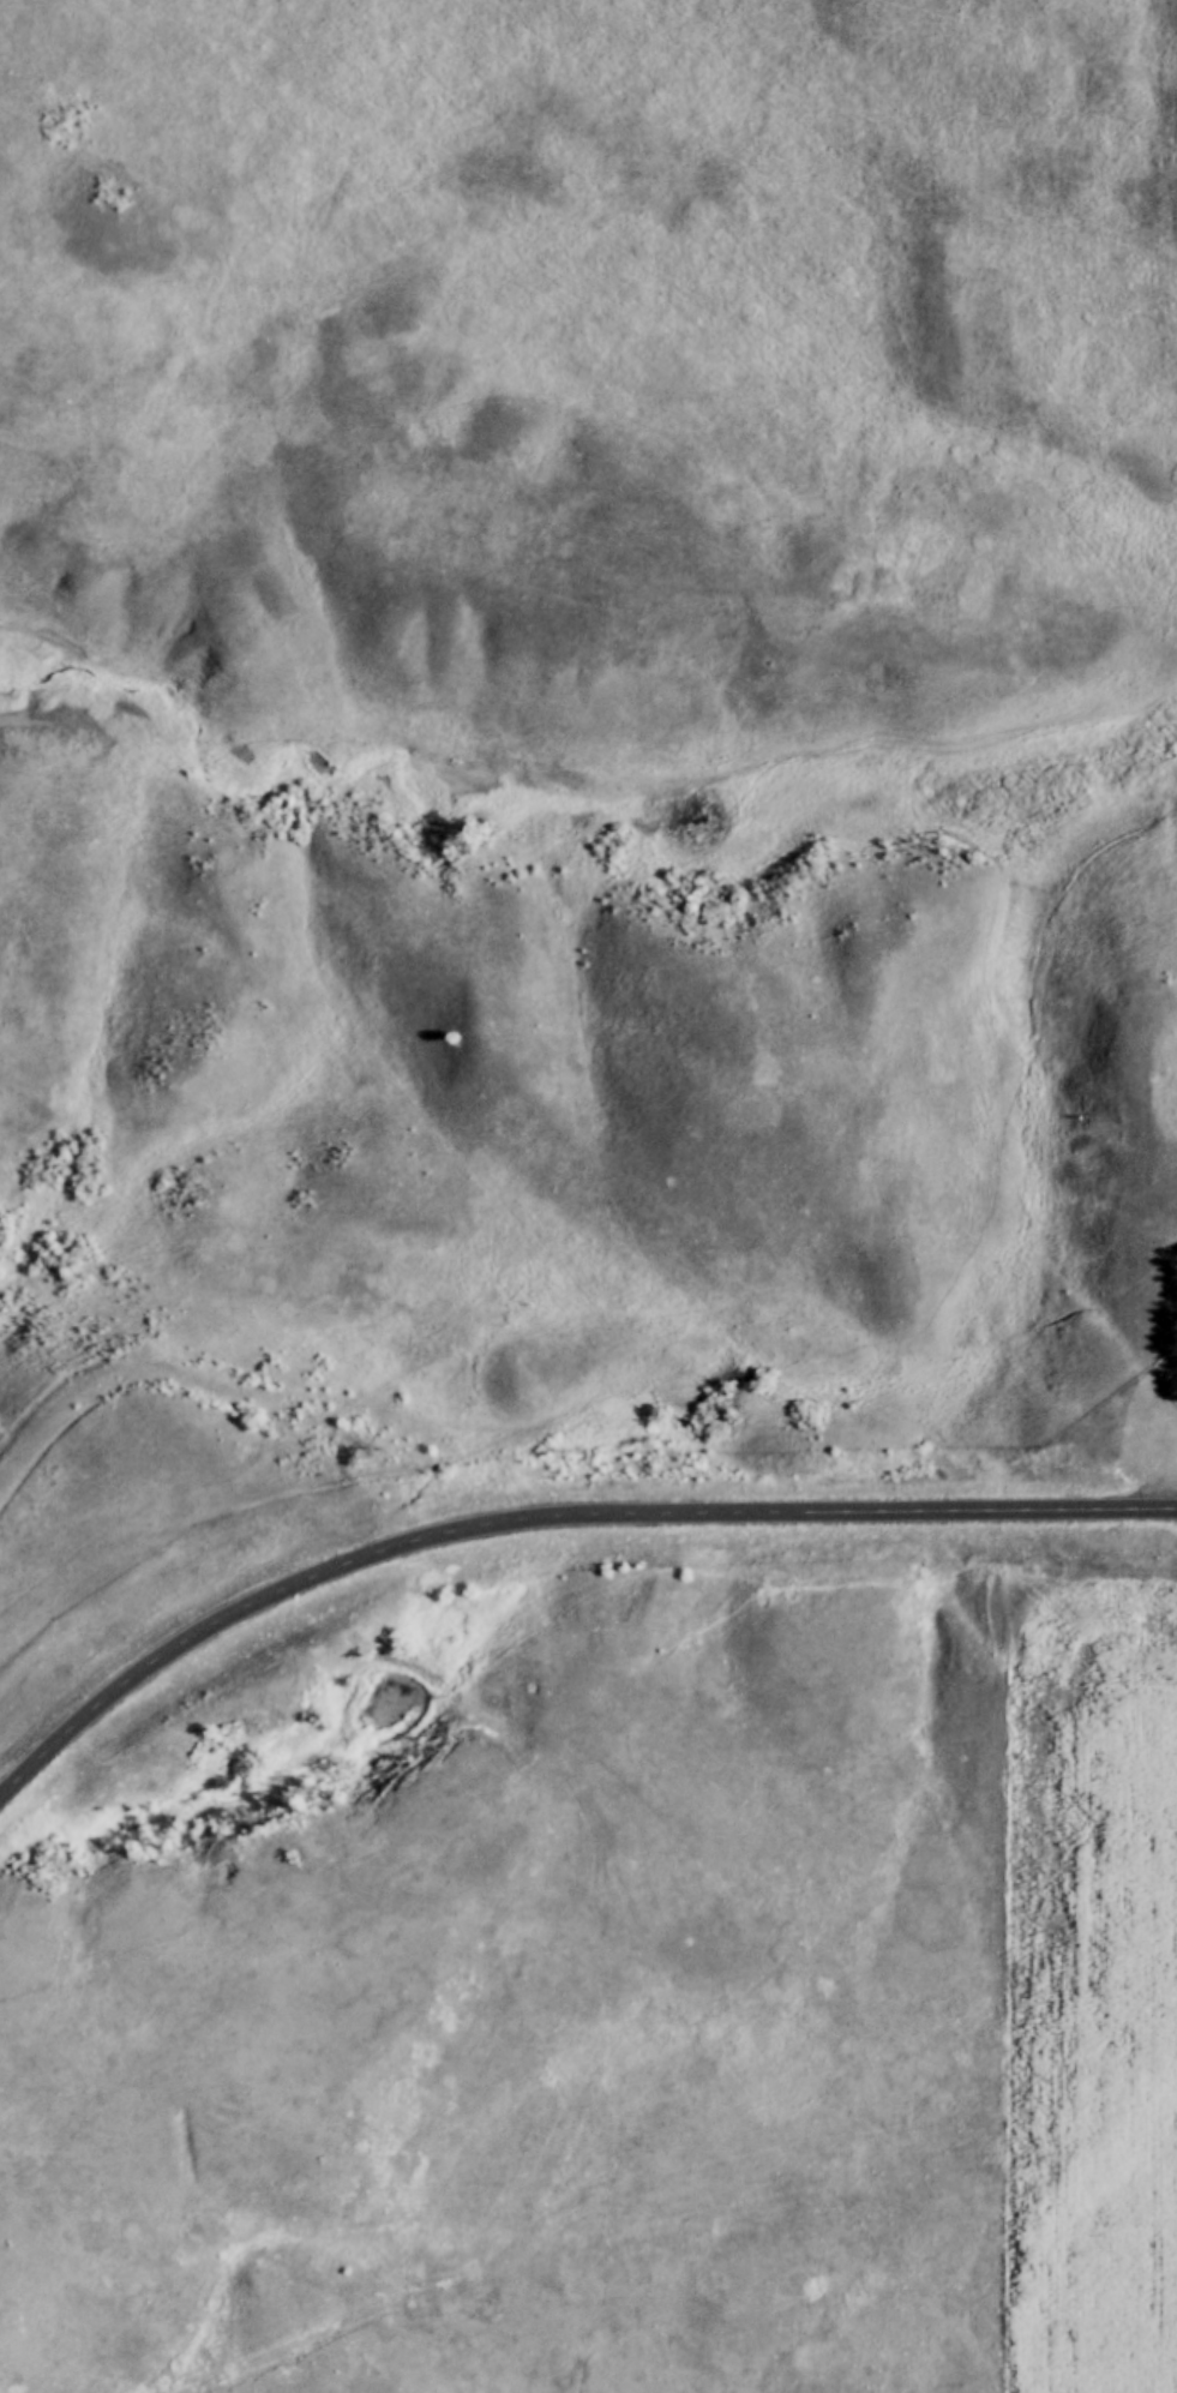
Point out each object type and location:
road: (546, 1512)

